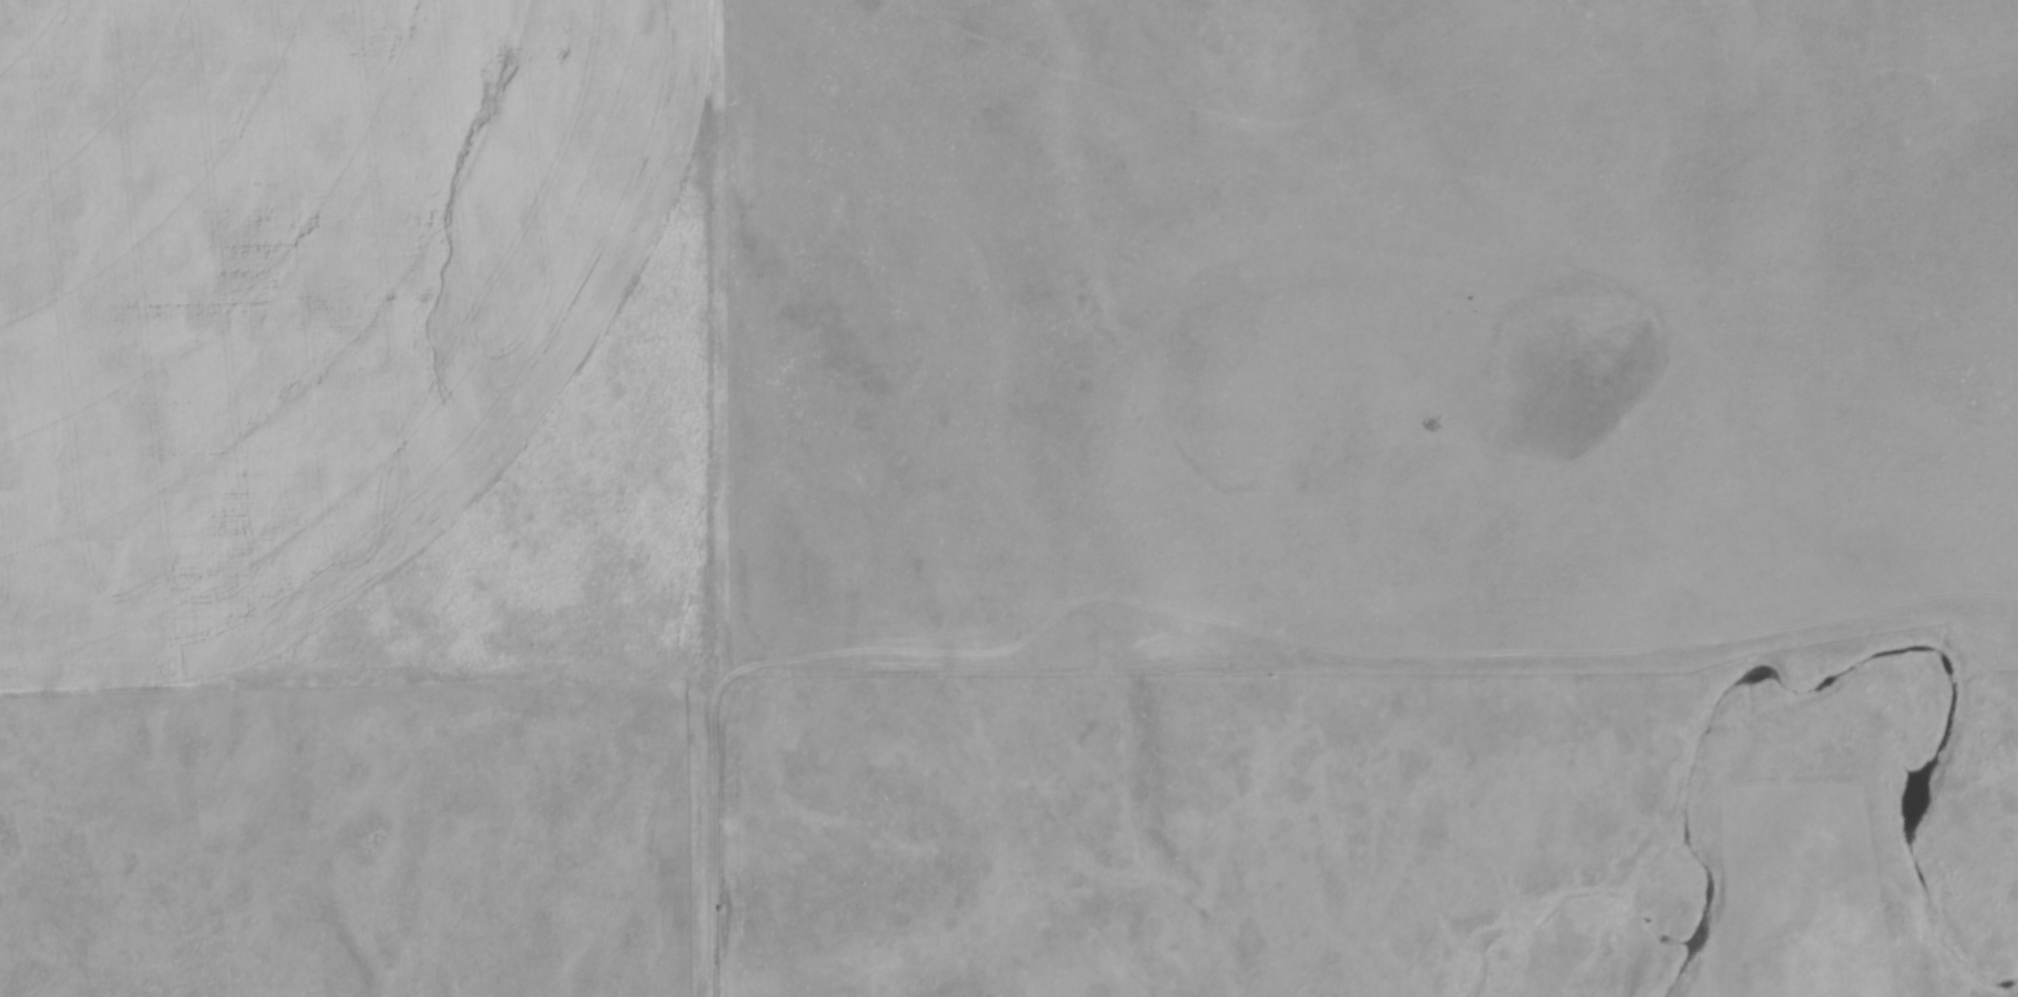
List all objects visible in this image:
road: (712, 498)

